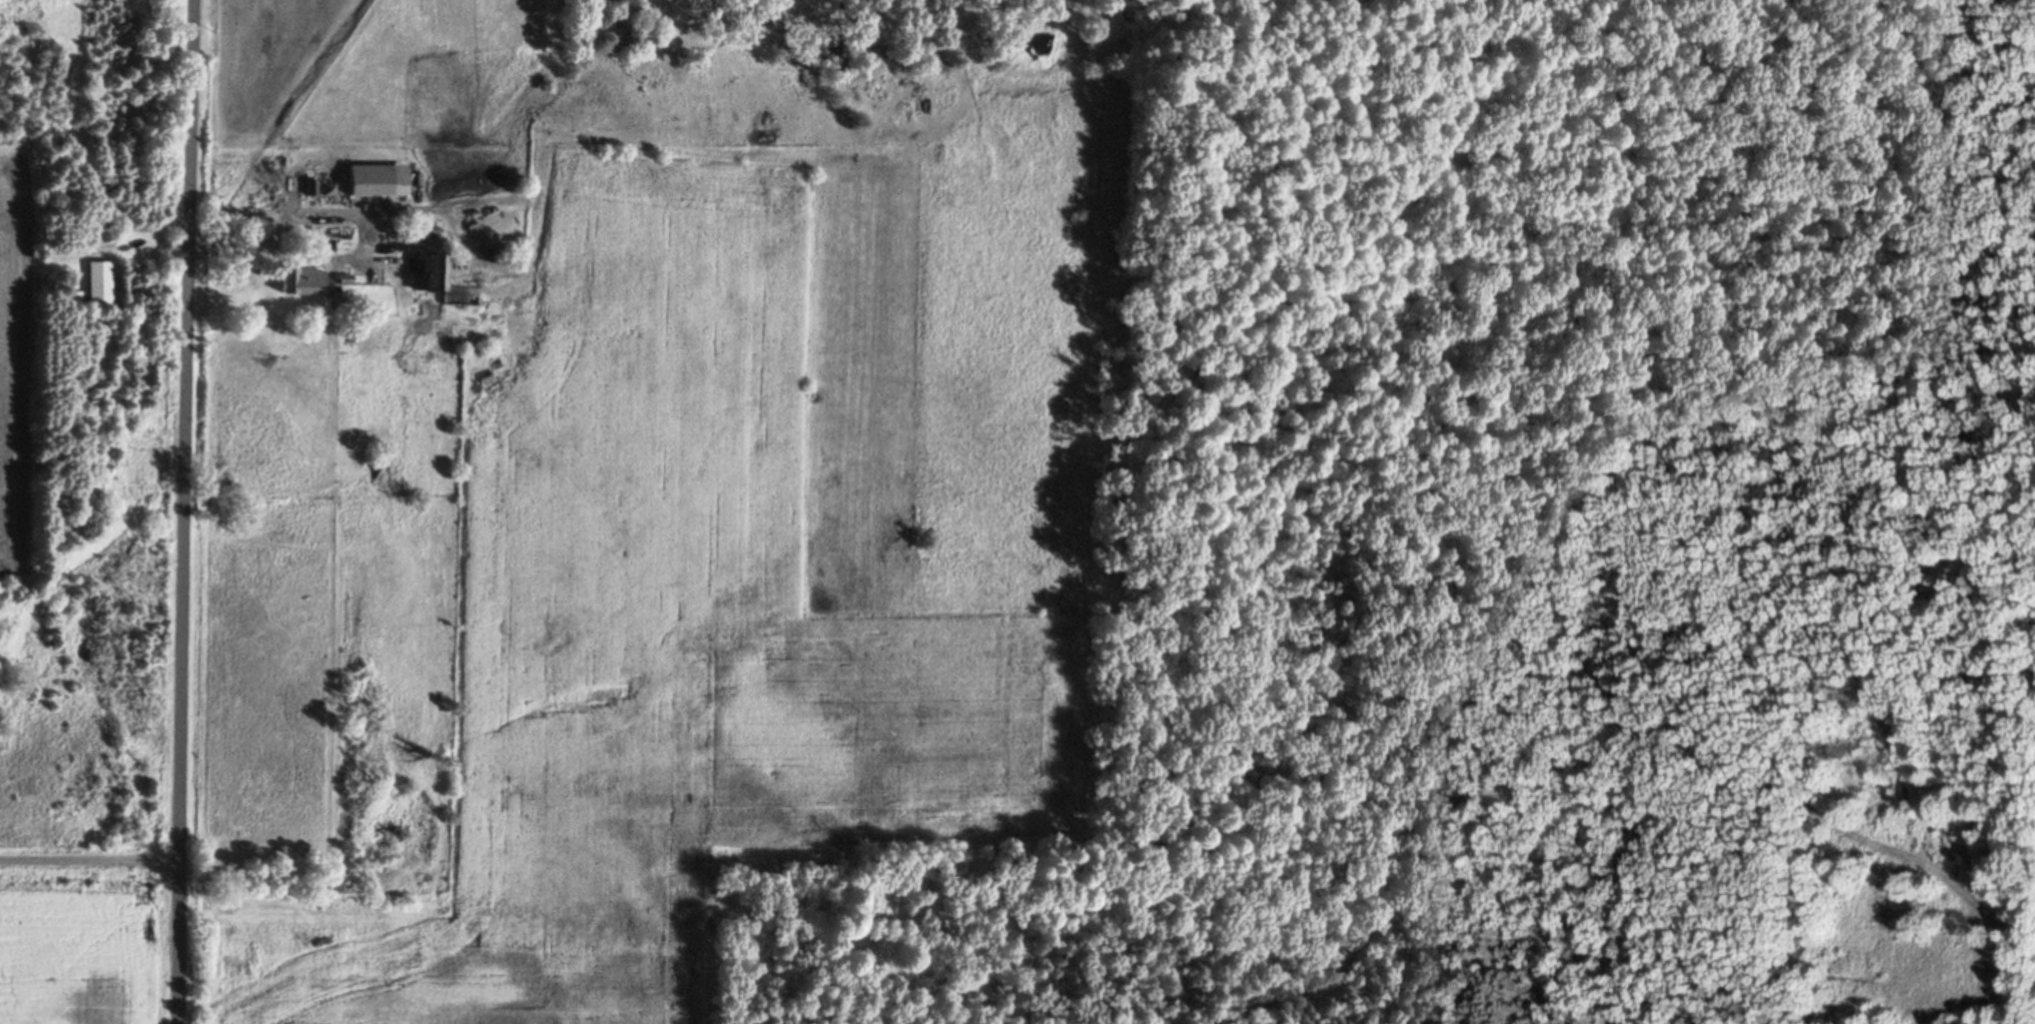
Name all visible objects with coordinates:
building: (369, 184)
road: (431, 212)
road: (346, 258)
building: (433, 277)
building: (302, 285)
building: (100, 287)
road: (186, 511)

